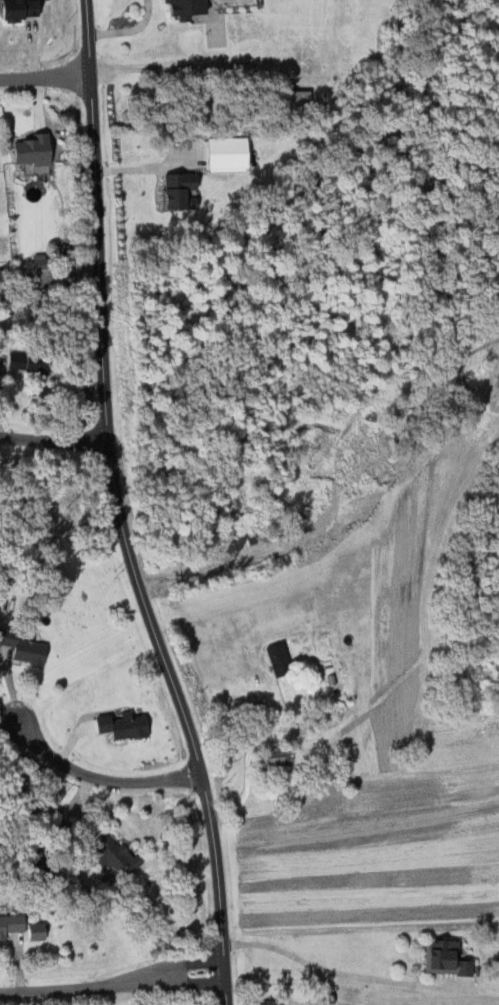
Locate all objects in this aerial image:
building: (182, 8)
building: (18, 9)
road: (129, 31)
road: (163, 67)
road: (45, 80)
building: (292, 100)
building: (13, 142)
building: (30, 150)
building: (227, 153)
building: (177, 191)
building: (25, 362)
road: (53, 441)
road: (116, 509)
building: (24, 650)
building: (276, 659)
road: (6, 710)
building: (120, 725)
road: (248, 755)
building: (271, 759)
road: (96, 776)
building: (111, 856)
building: (9, 924)
building: (40, 930)
building: (442, 958)
road: (347, 974)
road: (112, 985)
building: (266, 1002)

